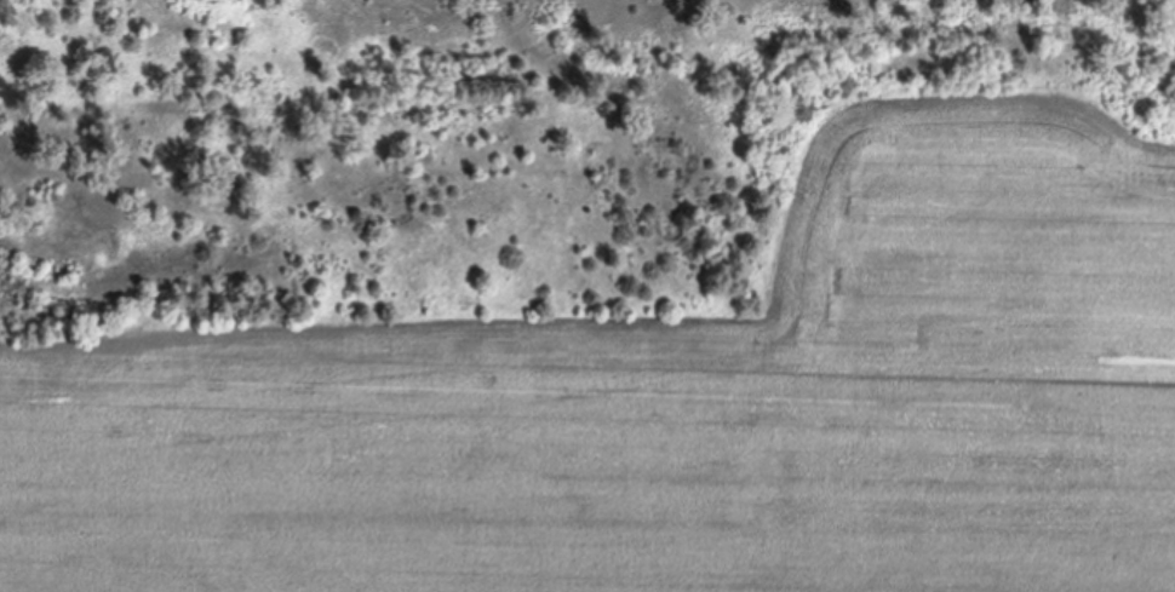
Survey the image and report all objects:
crop: (674, 400)

